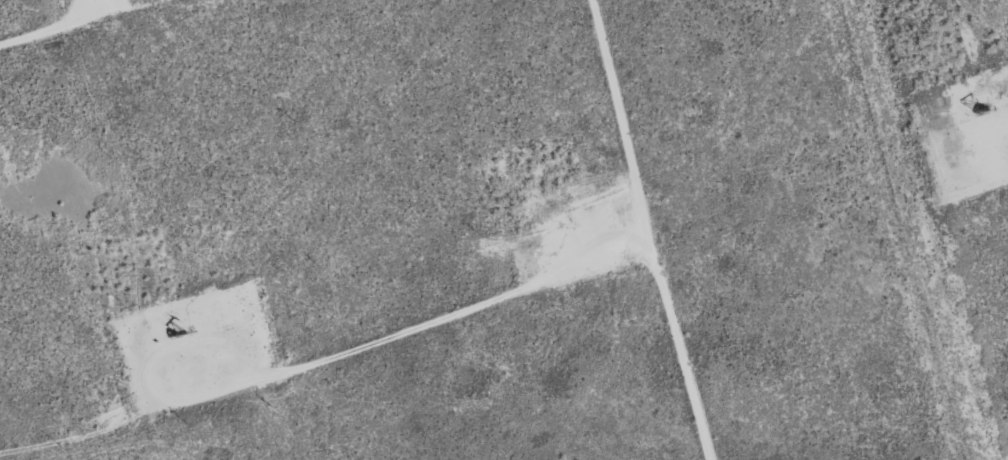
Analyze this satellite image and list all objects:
road: (32, 37)

